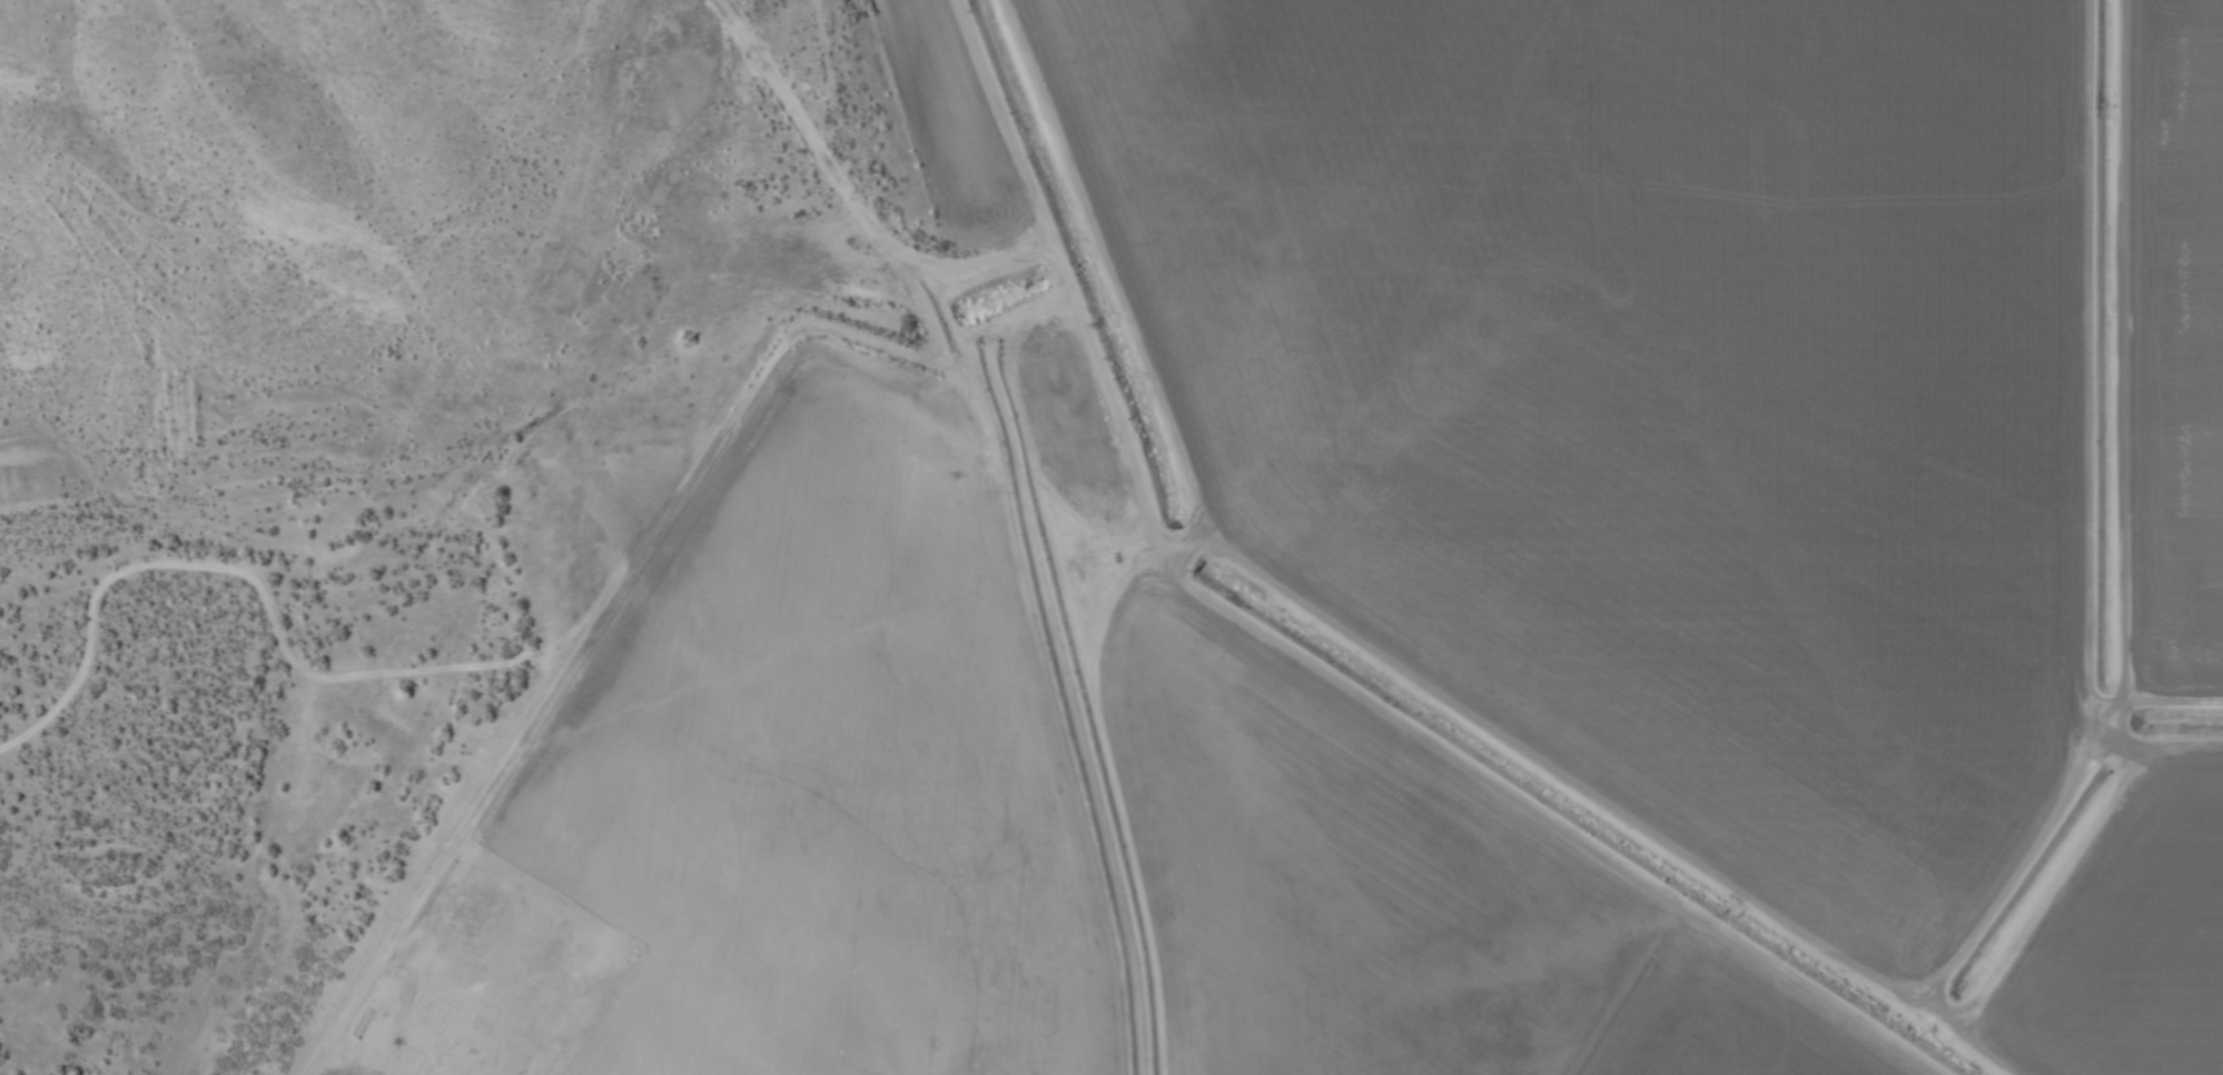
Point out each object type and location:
road: (367, 311)
road: (2073, 452)
crop: (1707, 461)
road: (1019, 530)

